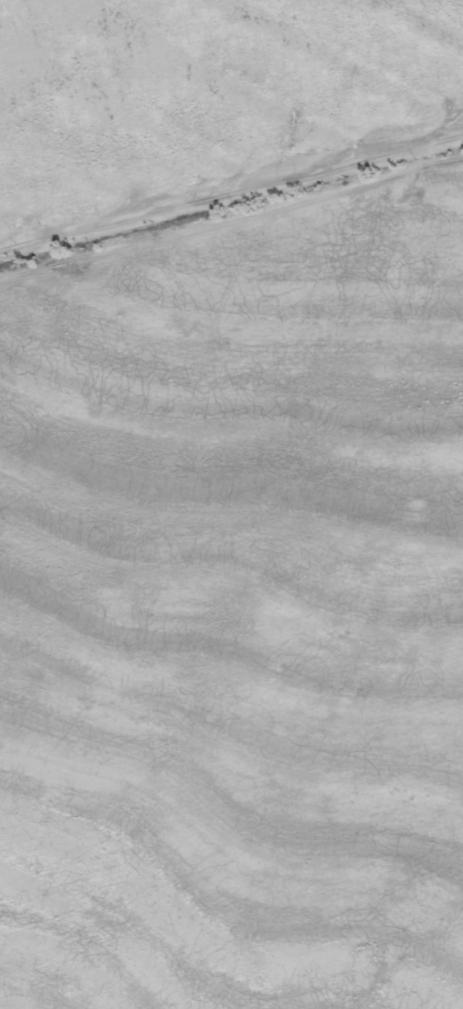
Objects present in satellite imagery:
road: (231, 201)

